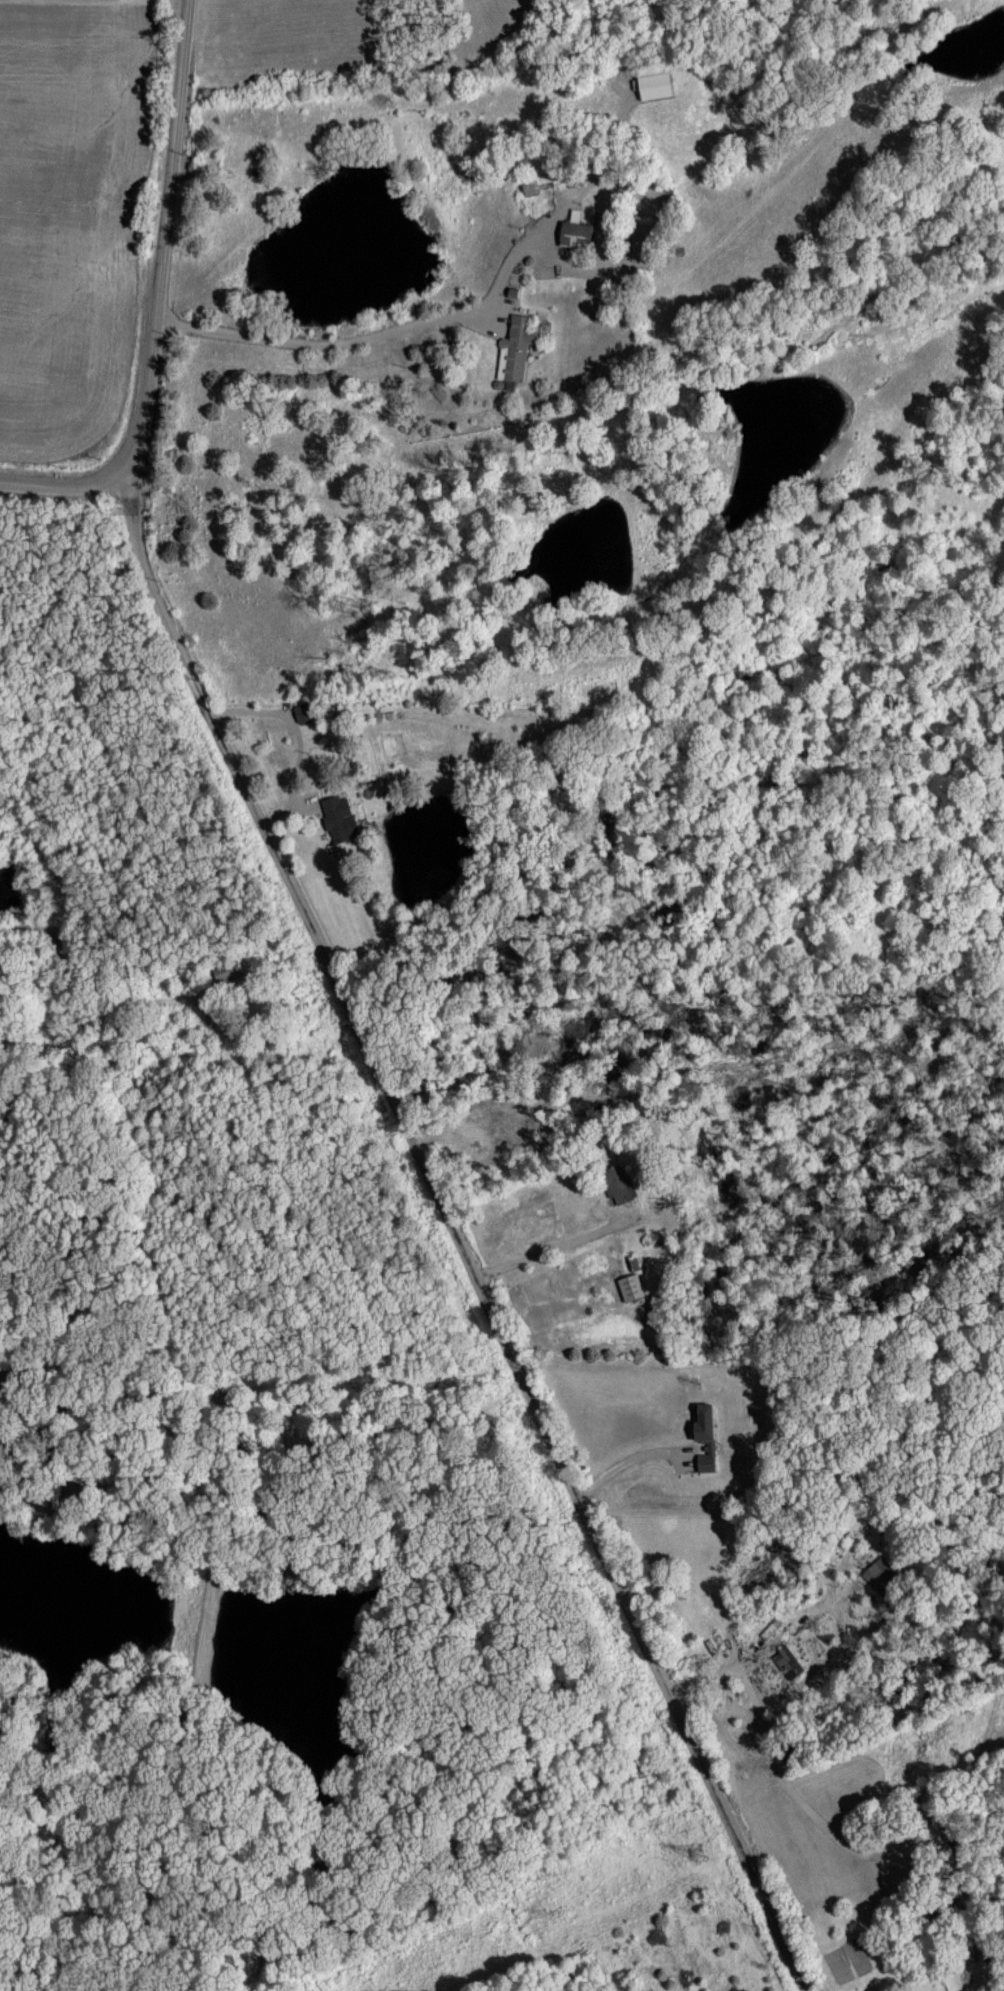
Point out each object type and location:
building: (652, 84)
building: (527, 186)
building: (573, 229)
road: (163, 237)
road: (367, 336)
building: (514, 347)
road: (60, 482)
building: (302, 711)
building: (338, 817)
building: (229, 970)
road: (423, 1158)
building: (630, 1286)
building: (703, 1435)
road: (631, 1457)
building: (881, 1574)
building: (786, 1661)
road: (774, 1915)

